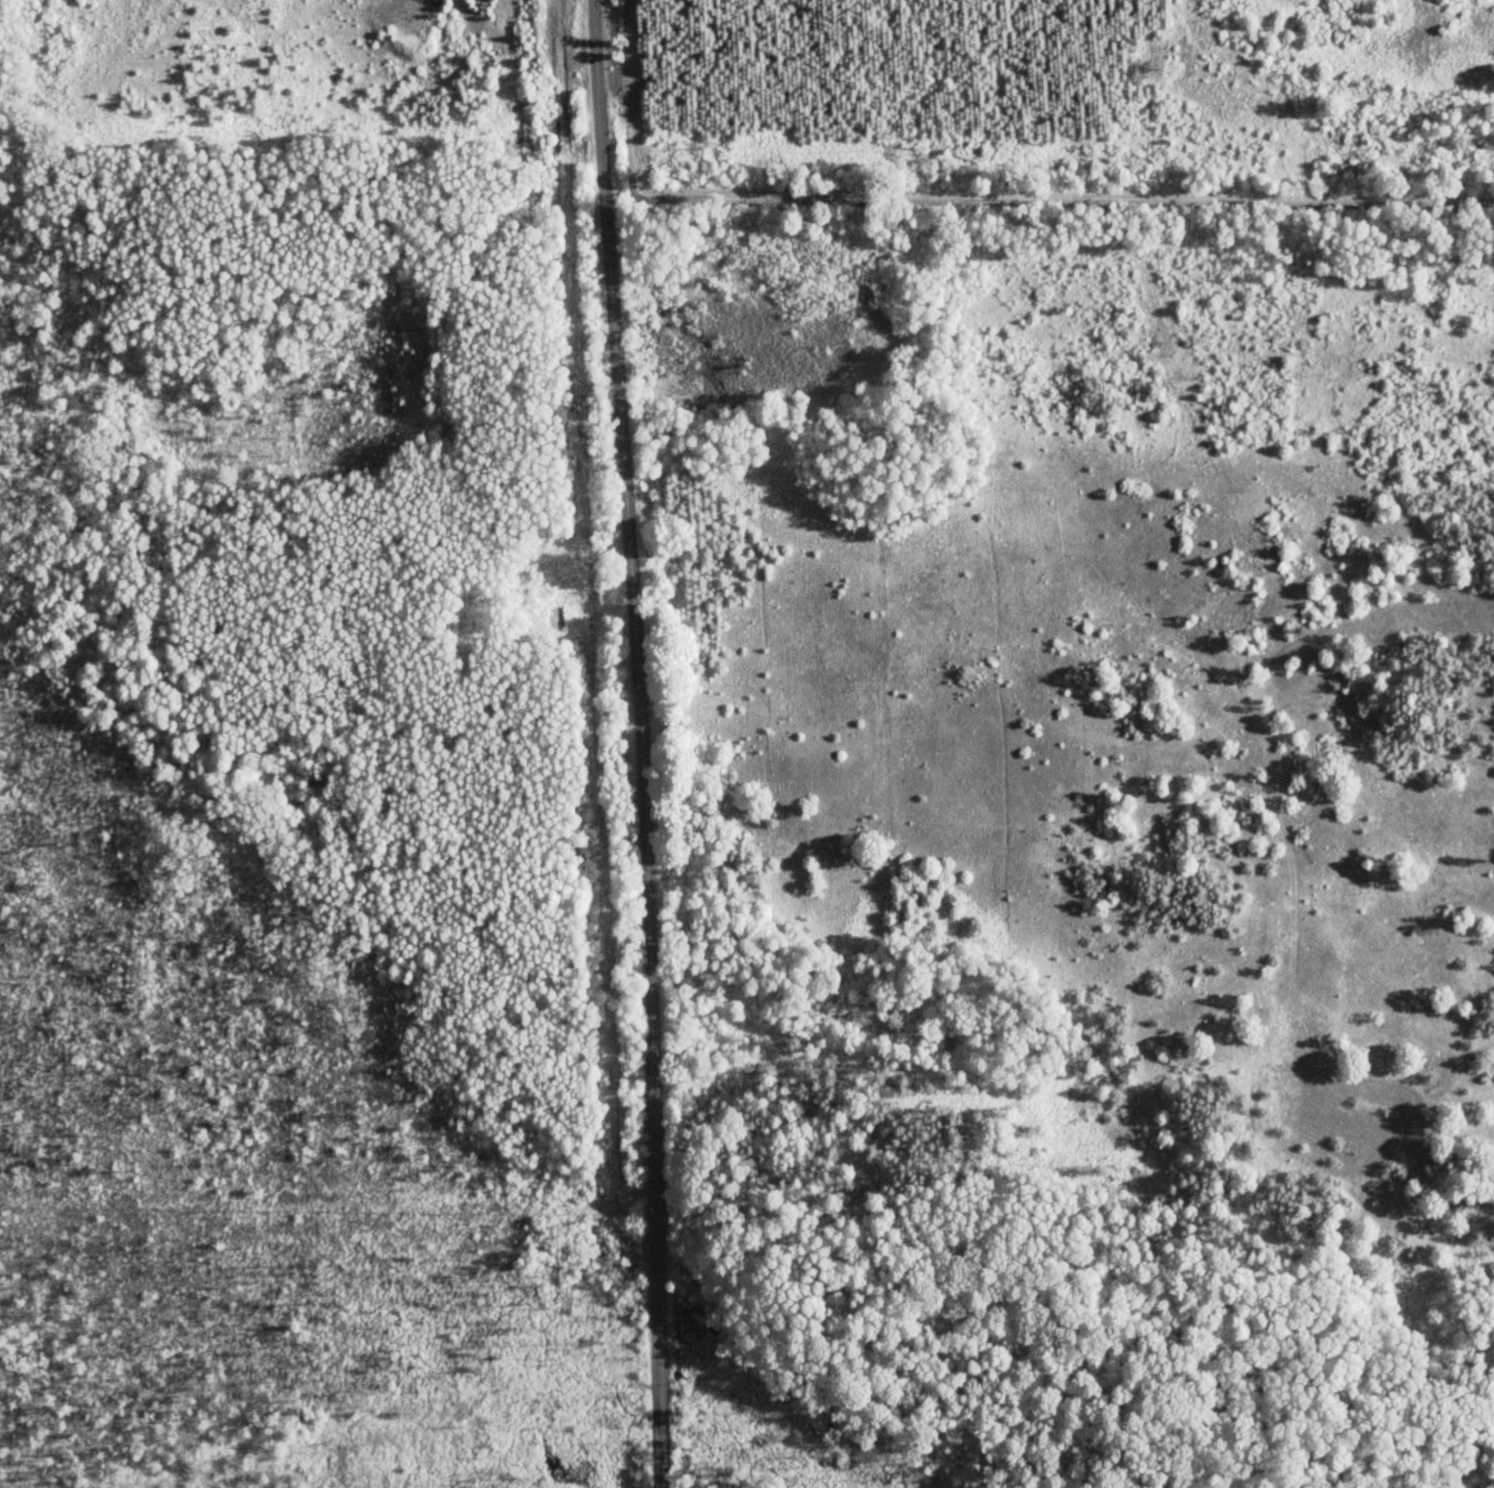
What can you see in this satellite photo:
airport: (286, 68)
road: (637, 743)

